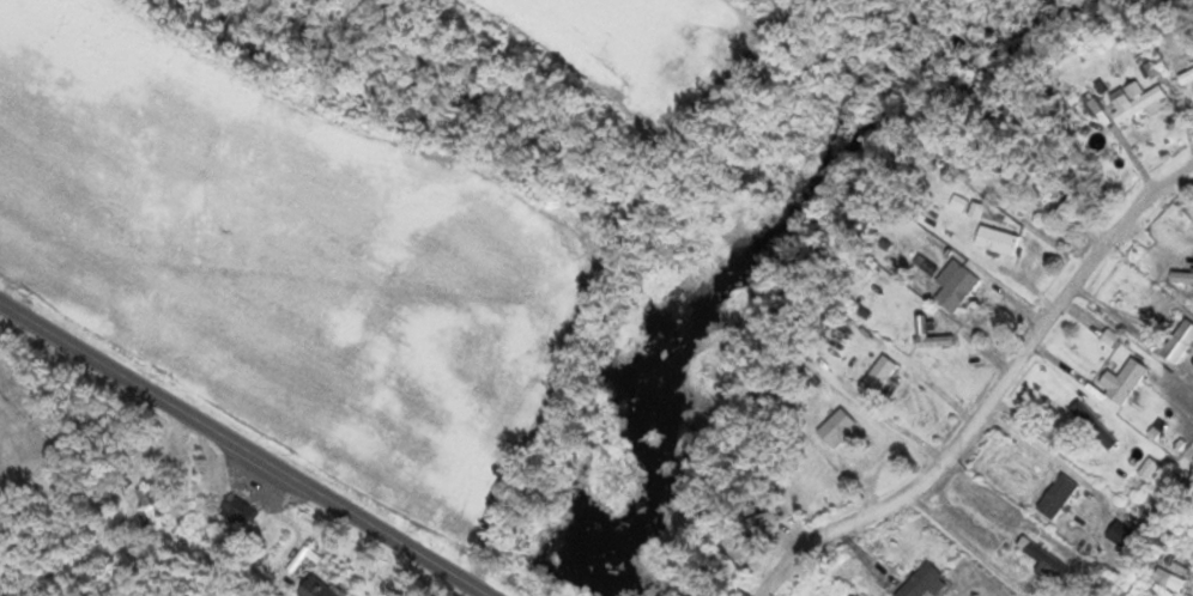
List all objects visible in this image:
building: (1191, 71)
building: (1140, 98)
building: (999, 237)
building: (1182, 275)
building: (961, 287)
building: (1179, 340)
building: (879, 375)
building: (1125, 378)
road: (991, 397)
building: (1071, 416)
building: (840, 424)
road: (248, 446)
building: (1059, 494)
building: (149, 509)
building: (241, 509)
building: (1124, 533)
building: (1043, 554)
building: (922, 580)
building: (322, 588)

